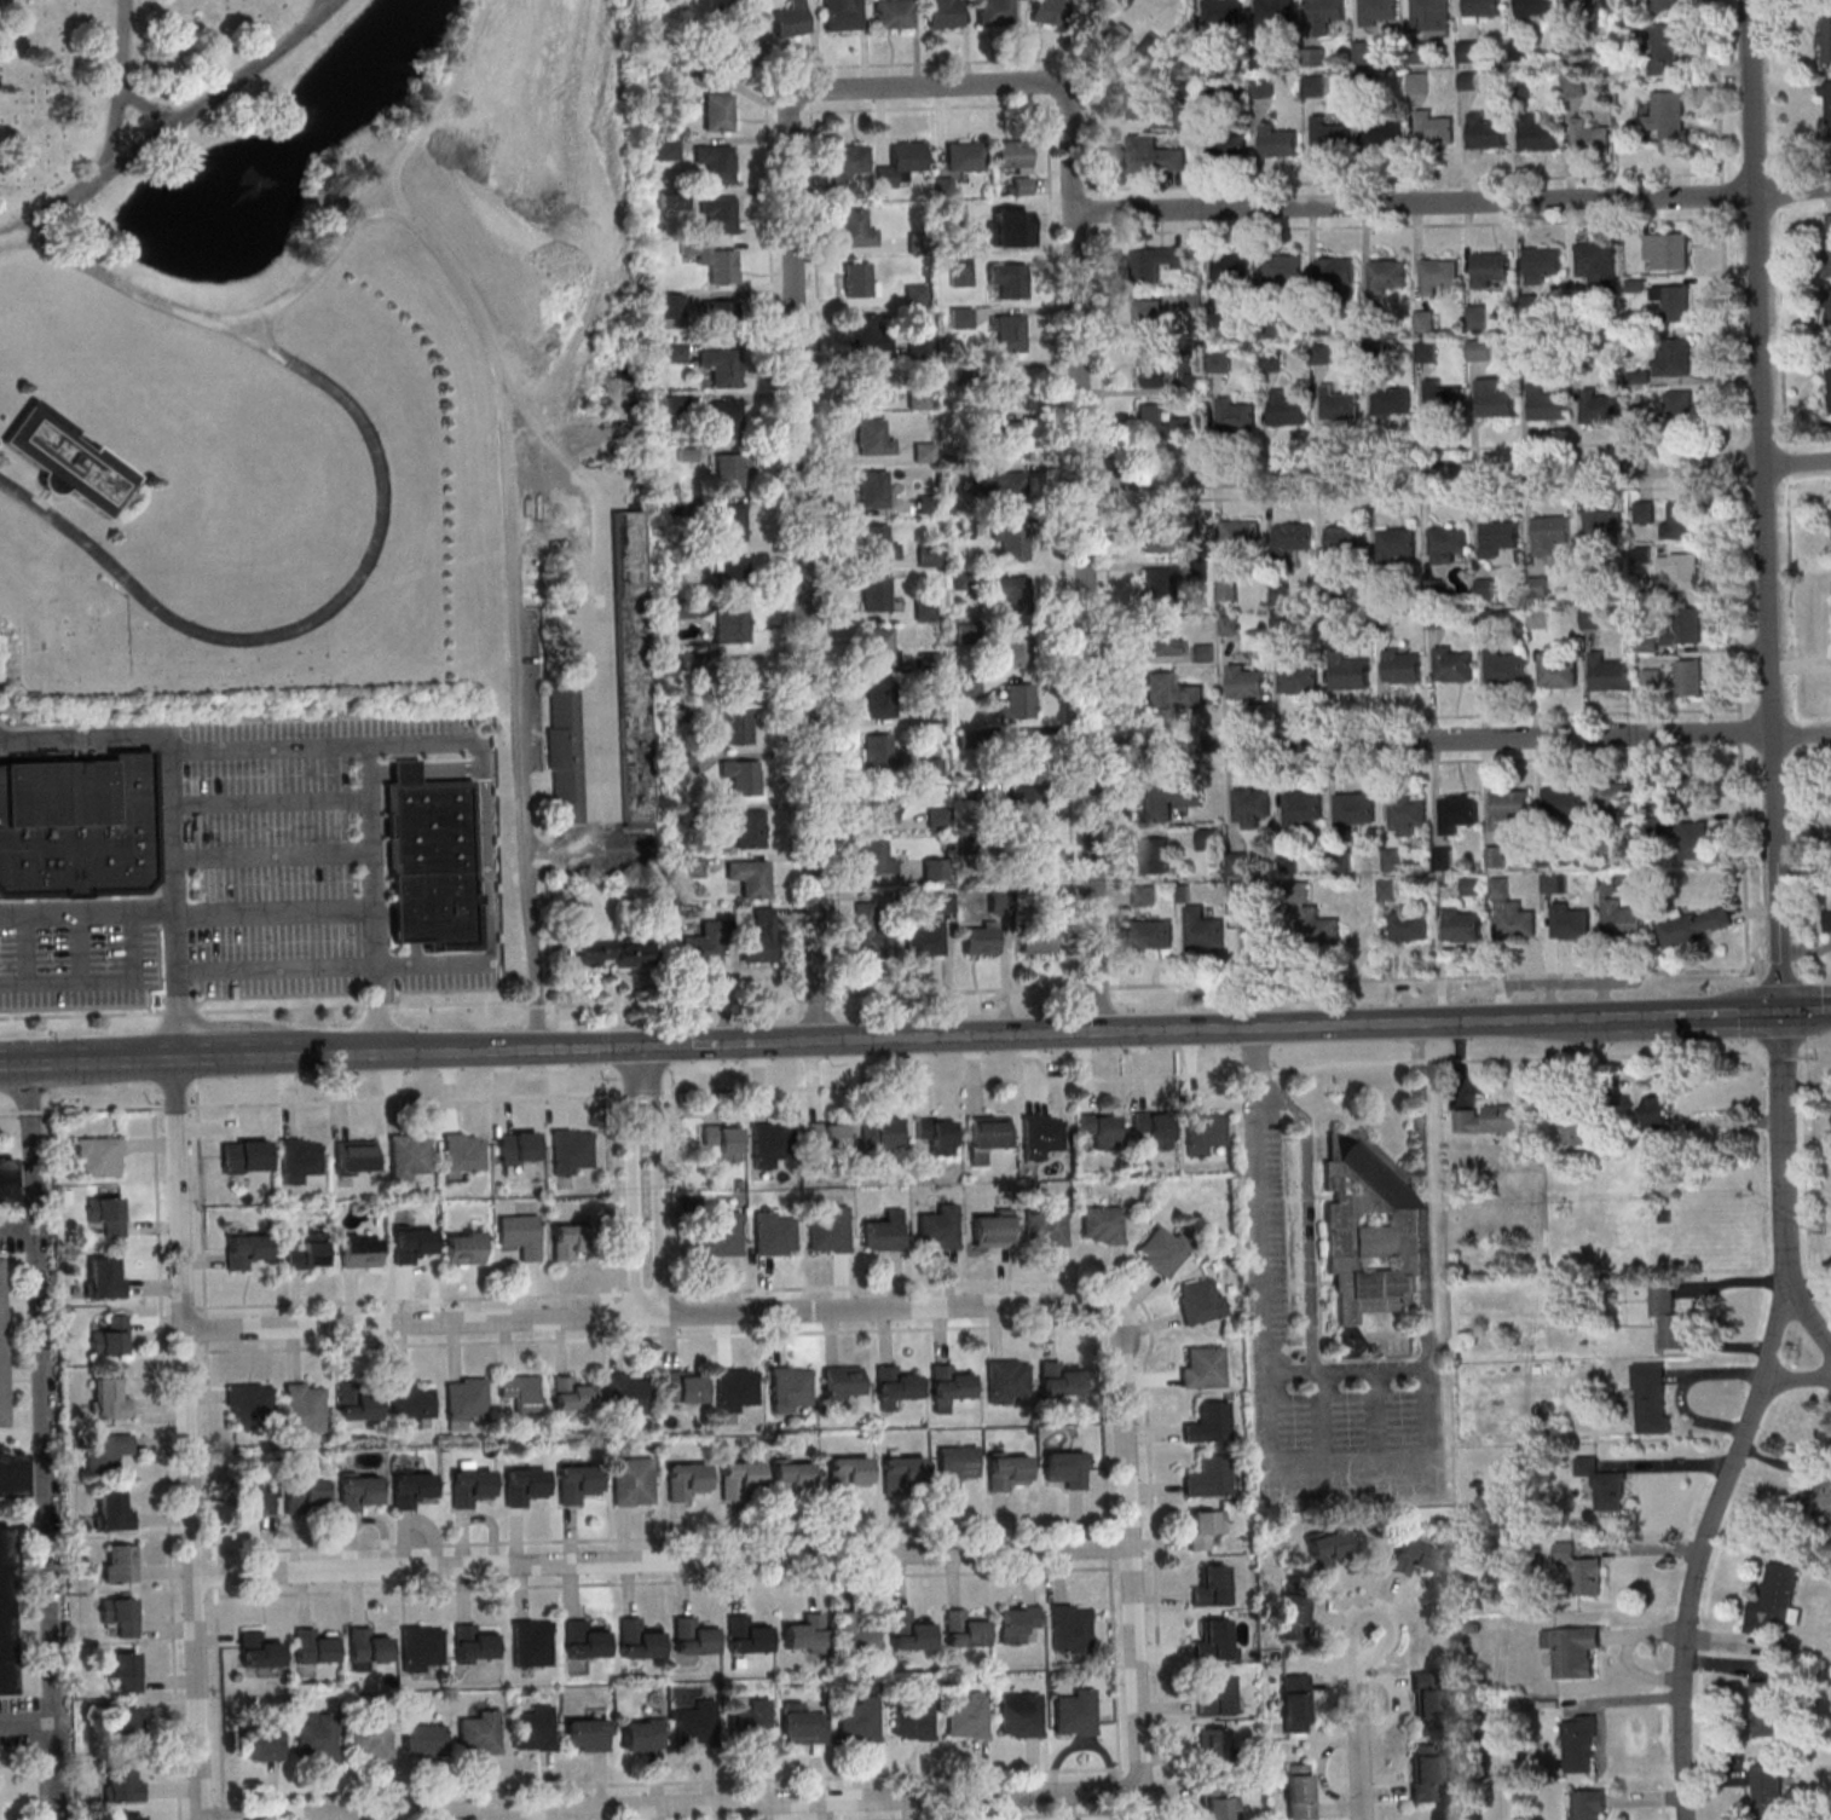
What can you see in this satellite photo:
building: (1663, 5)
building: (1481, 7)
building: (1532, 8)
road: (320, 10)
building: (1379, 11)
building: (995, 12)
building: (1050, 12)
building: (1223, 12)
building: (1581, 12)
building: (943, 13)
building: (841, 15)
building: (891, 15)
building: (1431, 15)
building: (1272, 16)
building: (1324, 16)
building: (789, 21)
building: (1105, 35)
building: (1824, 36)
building: (1151, 45)
building: (1572, 48)
building: (1663, 50)
building: (1467, 52)
building: (1364, 53)
building: (1416, 53)
building: (741, 57)
road: (926, 63)
building: (1468, 81)
building: (1417, 83)
building: (1573, 85)
building: (1315, 86)
building: (1261, 87)
building: (1521, 87)
road: (1046, 88)
road: (121, 89)
road: (810, 98)
building: (1139, 102)
road: (1062, 104)
road: (928, 108)
building: (1826, 110)
road: (150, 111)
road: (793, 112)
building: (716, 114)
building: (1186, 119)
building: (1665, 120)
road: (174, 128)
building: (1433, 129)
building: (1381, 131)
building: (1484, 132)
building: (1536, 134)
building: (1329, 137)
building: (1588, 138)
building: (1278, 141)
building: (1225, 146)
building: (1010, 156)
building: (1153, 156)
building: (964, 157)
building: (714, 163)
building: (900, 163)
building: (847, 171)
road: (1400, 180)
road: (391, 184)
road: (1079, 190)
road: (1452, 206)
building: (717, 214)
road: (1409, 227)
building: (1015, 229)
building: (854, 230)
building: (1827, 247)
building: (1665, 252)
building: (712, 262)
building: (1156, 262)
building: (1541, 264)
building: (1594, 264)
building: (1231, 267)
building: (1335, 271)
building: (1489, 271)
building: (1283, 272)
building: (1387, 276)
building: (1439, 277)
building: (857, 281)
building: (1007, 281)
building: (915, 296)
building: (1191, 301)
building: (1671, 304)
building: (670, 306)
building: (1829, 316)
building: (722, 318)
building: (960, 318)
building: (1148, 319)
building: (1423, 322)
building: (866, 334)
building: (1007, 334)
building: (1479, 349)
building: (1426, 351)
building: (1374, 353)
building: (1671, 357)
building: (1219, 362)
building: (721, 368)
building: (1149, 369)
building: (1195, 385)
building: (1829, 385)
building: (870, 386)
building: (1005, 387)
park: (342, 394)
building: (1443, 399)
building: (1494, 399)
building: (1391, 400)
building: (1340, 404)
building: (1546, 404)
building: (1598, 408)
building: (1287, 410)
building: (1679, 410)
building: (1235, 416)
building: (727, 421)
building: (1161, 424)
building: (873, 439)
building: (1009, 439)
building: (925, 453)
building: (65, 463)
road: (1457, 472)
building: (728, 473)
road: (1731, 485)
building: (999, 486)
building: (873, 490)
road: (1084, 493)
road: (1417, 493)
road: (803, 503)
building: (928, 504)
building: (1644, 512)
road: (382, 518)
building: (1681, 519)
building: (727, 522)
building: (1604, 526)
building: (1166, 532)
building: (1550, 533)
building: (1241, 537)
building: (1293, 537)
building: (1498, 537)
road: (1062, 541)
building: (1345, 541)
building: (1449, 542)
building: (877, 543)
building: (1010, 543)
building: (1397, 544)
road: (826, 549)
building: (928, 556)
building: (1680, 570)
building: (732, 573)
building: (963, 580)
building: (1157, 588)
building: (1490, 591)
building: (1010, 594)
building: (874, 595)
road: (514, 600)
building: (926, 611)
building: (729, 625)
building: (1230, 625)
building: (1282, 625)
building: (1682, 626)
road: (595, 632)
building: (1161, 639)
building: (878, 647)
building: (1015, 648)
building: (1203, 653)
building: (1452, 665)
building: (1400, 666)
building: (631, 668)
building: (1503, 668)
road: (1773, 668)
building: (1556, 670)
building: (1348, 672)
building: (1607, 672)
building: (735, 676)
building: (1296, 677)
building: (1651, 678)
building: (1686, 678)
building: (1246, 682)
building: (1171, 692)
building: (880, 698)
building: (1017, 700)
road: (1426, 716)
building: (735, 727)
road: (1461, 739)
road: (431, 743)
building: (565, 756)
road: (1427, 761)
road: (374, 796)
road: (173, 813)
building: (76, 828)
road: (490, 854)
parking lot: (271, 859)
building: (429, 866)
road: (87, 914)
road: (439, 965)
parking lot: (80, 969)
road: (1436, 977)
road: (1101, 987)
road: (739, 999)
road: (377, 1006)
road: (1749, 1010)
road: (230, 1011)
road: (1808, 1012)
traffic signals: (1785, 1013)
road: (607, 1015)
road: (1442, 1023)
road: (959, 1036)
road: (738, 1042)
road: (607, 1045)
traffic signals: (658, 1045)
road: (1750, 1045)
road: (328, 1048)
road: (196, 1067)
road: (1248, 1071)
road: (1807, 1090)
road: (649, 1092)
road: (336, 1100)
road: (29, 1110)
building: (1658, 1110)
road: (10, 1111)
building: (1490, 1117)
building: (1155, 1128)
building: (1577, 1128)
building: (1102, 1129)
building: (1206, 1131)
building: (988, 1136)
building: (1044, 1136)
road: (636, 1179)
road: (660, 1179)
road: (612, 1189)
road: (681, 1191)
building: (1103, 1224)
building: (1047, 1225)
building: (1368, 1225)
building: (941, 1227)
building: (994, 1227)
road: (17, 1231)
building: (775, 1233)
building: (520, 1235)
building: (567, 1241)
building: (411, 1243)
building: (244, 1248)
building: (460, 1248)
building: (1165, 1249)
building: (359, 1250)
building: (307, 1252)
building: (104, 1277)
road: (649, 1293)
road: (405, 1299)
building: (1201, 1300)
road: (1699, 1306)
road: (642, 1315)
building: (1669, 1315)
road: (1804, 1318)
road: (1151, 1321)
building: (109, 1336)
road: (653, 1336)
building: (1203, 1367)
road: (1345, 1371)
building: (0, 1374)
road: (1791, 1376)
building: (1059, 1379)
building: (843, 1381)
building: (1010, 1381)
building: (895, 1385)
building: (683, 1386)
building: (949, 1386)
building: (791, 1387)
building: (737, 1388)
building: (520, 1392)
building: (571, 1393)
building: (626, 1393)
building: (1652, 1397)
building: (109, 1398)
building: (464, 1400)
building: (409, 1403)
building: (248, 1405)
building: (305, 1406)
building: (357, 1406)
building: (1209, 1422)
road: (189, 1435)
road: (41, 1438)
building: (105, 1450)
road: (210, 1450)
road: (167, 1462)
road: (1668, 1464)
building: (958, 1466)
building: (1068, 1468)
building: (1010, 1471)
building: (906, 1473)
building: (849, 1474)
building: (11, 1475)
building: (1211, 1477)
building: (741, 1479)
building: (793, 1479)
building: (686, 1480)
building: (633, 1481)
building: (577, 1483)
building: (1602, 1483)
building: (409, 1485)
building: (522, 1485)
building: (358, 1491)
building: (304, 1493)
building: (252, 1497)
building: (1810, 1503)
building: (114, 1510)
building: (1206, 1527)
building: (1327, 1547)
building: (1414, 1555)
road: (1134, 1556)
road: (664, 1558)
road: (1111, 1561)
building: (120, 1562)
building: (1582, 1568)
road: (1697, 1572)
building: (1213, 1585)
building: (1775, 1599)
building: (116, 1610)
building: (5, 1613)
road: (1375, 1613)
building: (1294, 1617)
building: (1020, 1622)
building: (1073, 1627)
building: (965, 1629)
building: (912, 1630)
building: (807, 1633)
building: (749, 1634)
building: (693, 1635)
building: (856, 1635)
building: (584, 1639)
building: (640, 1639)
building: (531, 1641)
building: (474, 1642)
building: (1217, 1642)
building: (313, 1646)
building: (368, 1646)
building: (421, 1647)
building: (1572, 1648)
building: (259, 1649)
building: (122, 1669)
building: (1217, 1695)
building: (1427, 1700)
building: (1295, 1701)
building: (1768, 1708)
building: (1076, 1711)
building: (1023, 1714)
building: (970, 1716)
building: (914, 1717)
building: (126, 1718)
building: (860, 1720)
road: (24, 1721)
building: (752, 1722)
building: (698, 1723)
building: (804, 1723)
building: (535, 1728)
building: (480, 1732)
building: (587, 1734)
building: (642, 1734)
building: (317, 1735)
building: (370, 1739)
building: (424, 1739)
building: (1581, 1743)
building: (261, 1744)
road: (1364, 1744)
building: (1214, 1746)
building: (1426, 1774)
building: (122, 1783)
building: (1300, 1791)
building: (1769, 1791)
road: (675, 1804)
building: (1221, 1804)
building: (1589, 1804)
building: (127, 1816)

